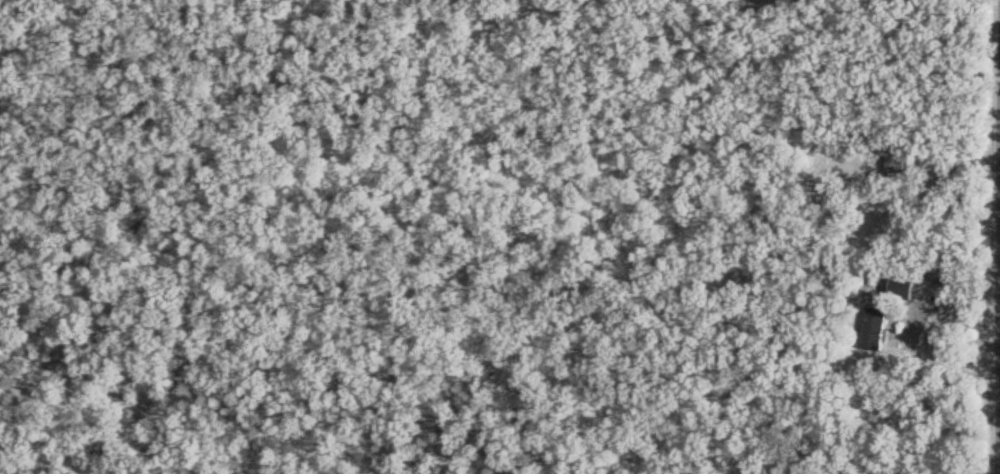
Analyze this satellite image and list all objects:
building: (904, 164)
road: (999, 237)
building: (904, 288)
building: (876, 327)

